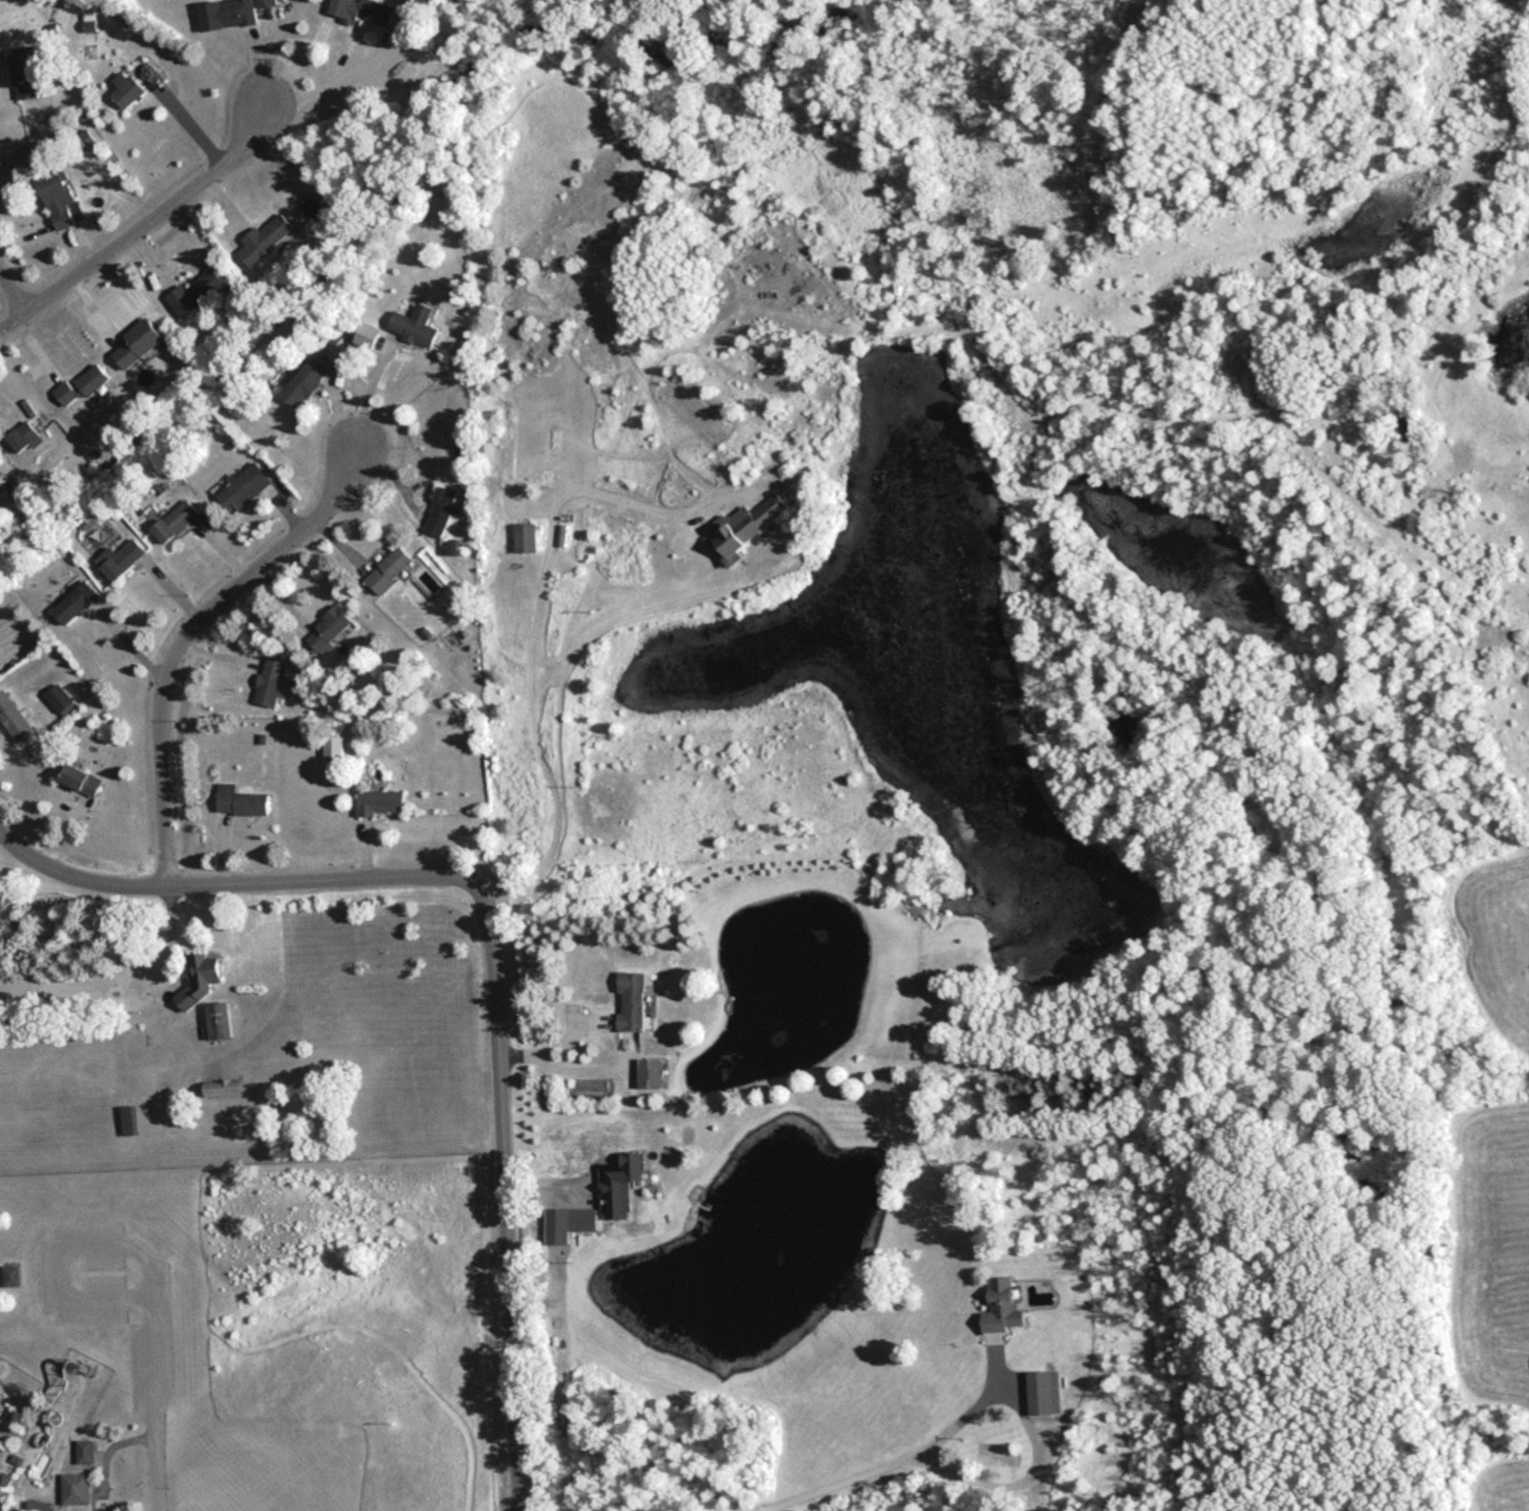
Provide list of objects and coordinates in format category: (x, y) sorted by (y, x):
building: (264, 3)
building: (360, 10)
building: (225, 14)
building: (21, 72)
road: (312, 86)
building: (125, 89)
building: (84, 139)
building: (57, 198)
road: (143, 221)
building: (264, 239)
road: (14, 286)
building: (194, 292)
building: (418, 316)
building: (136, 343)
building: (308, 372)
building: (78, 387)
road: (365, 396)
building: (23, 437)
building: (1, 473)
building: (245, 476)
building: (445, 504)
building: (178, 515)
building: (750, 524)
building: (531, 533)
building: (128, 550)
building: (395, 563)
building: (79, 594)
road: (535, 599)
building: (333, 621)
road: (187, 629)
building: (276, 673)
building: (62, 689)
building: (59, 699)
building: (14, 707)
building: (88, 773)
building: (247, 793)
building: (383, 795)
road: (491, 952)
building: (201, 969)
building: (631, 1001)
building: (224, 1012)
road: (556, 1041)
road: (584, 1070)
building: (649, 1074)
building: (226, 1079)
building: (221, 1088)
building: (127, 1120)
building: (628, 1172)
park: (247, 1213)
building: (582, 1220)
road: (61, 1241)
building: (14, 1264)
building: (12, 1276)
building: (1002, 1306)
building: (1043, 1391)
road: (158, 1400)
water park: (49, 1422)
road: (1030, 1427)
road: (107, 1451)
building: (84, 1452)
road: (826, 1478)
building: (79, 1480)
park: (266, 1489)

